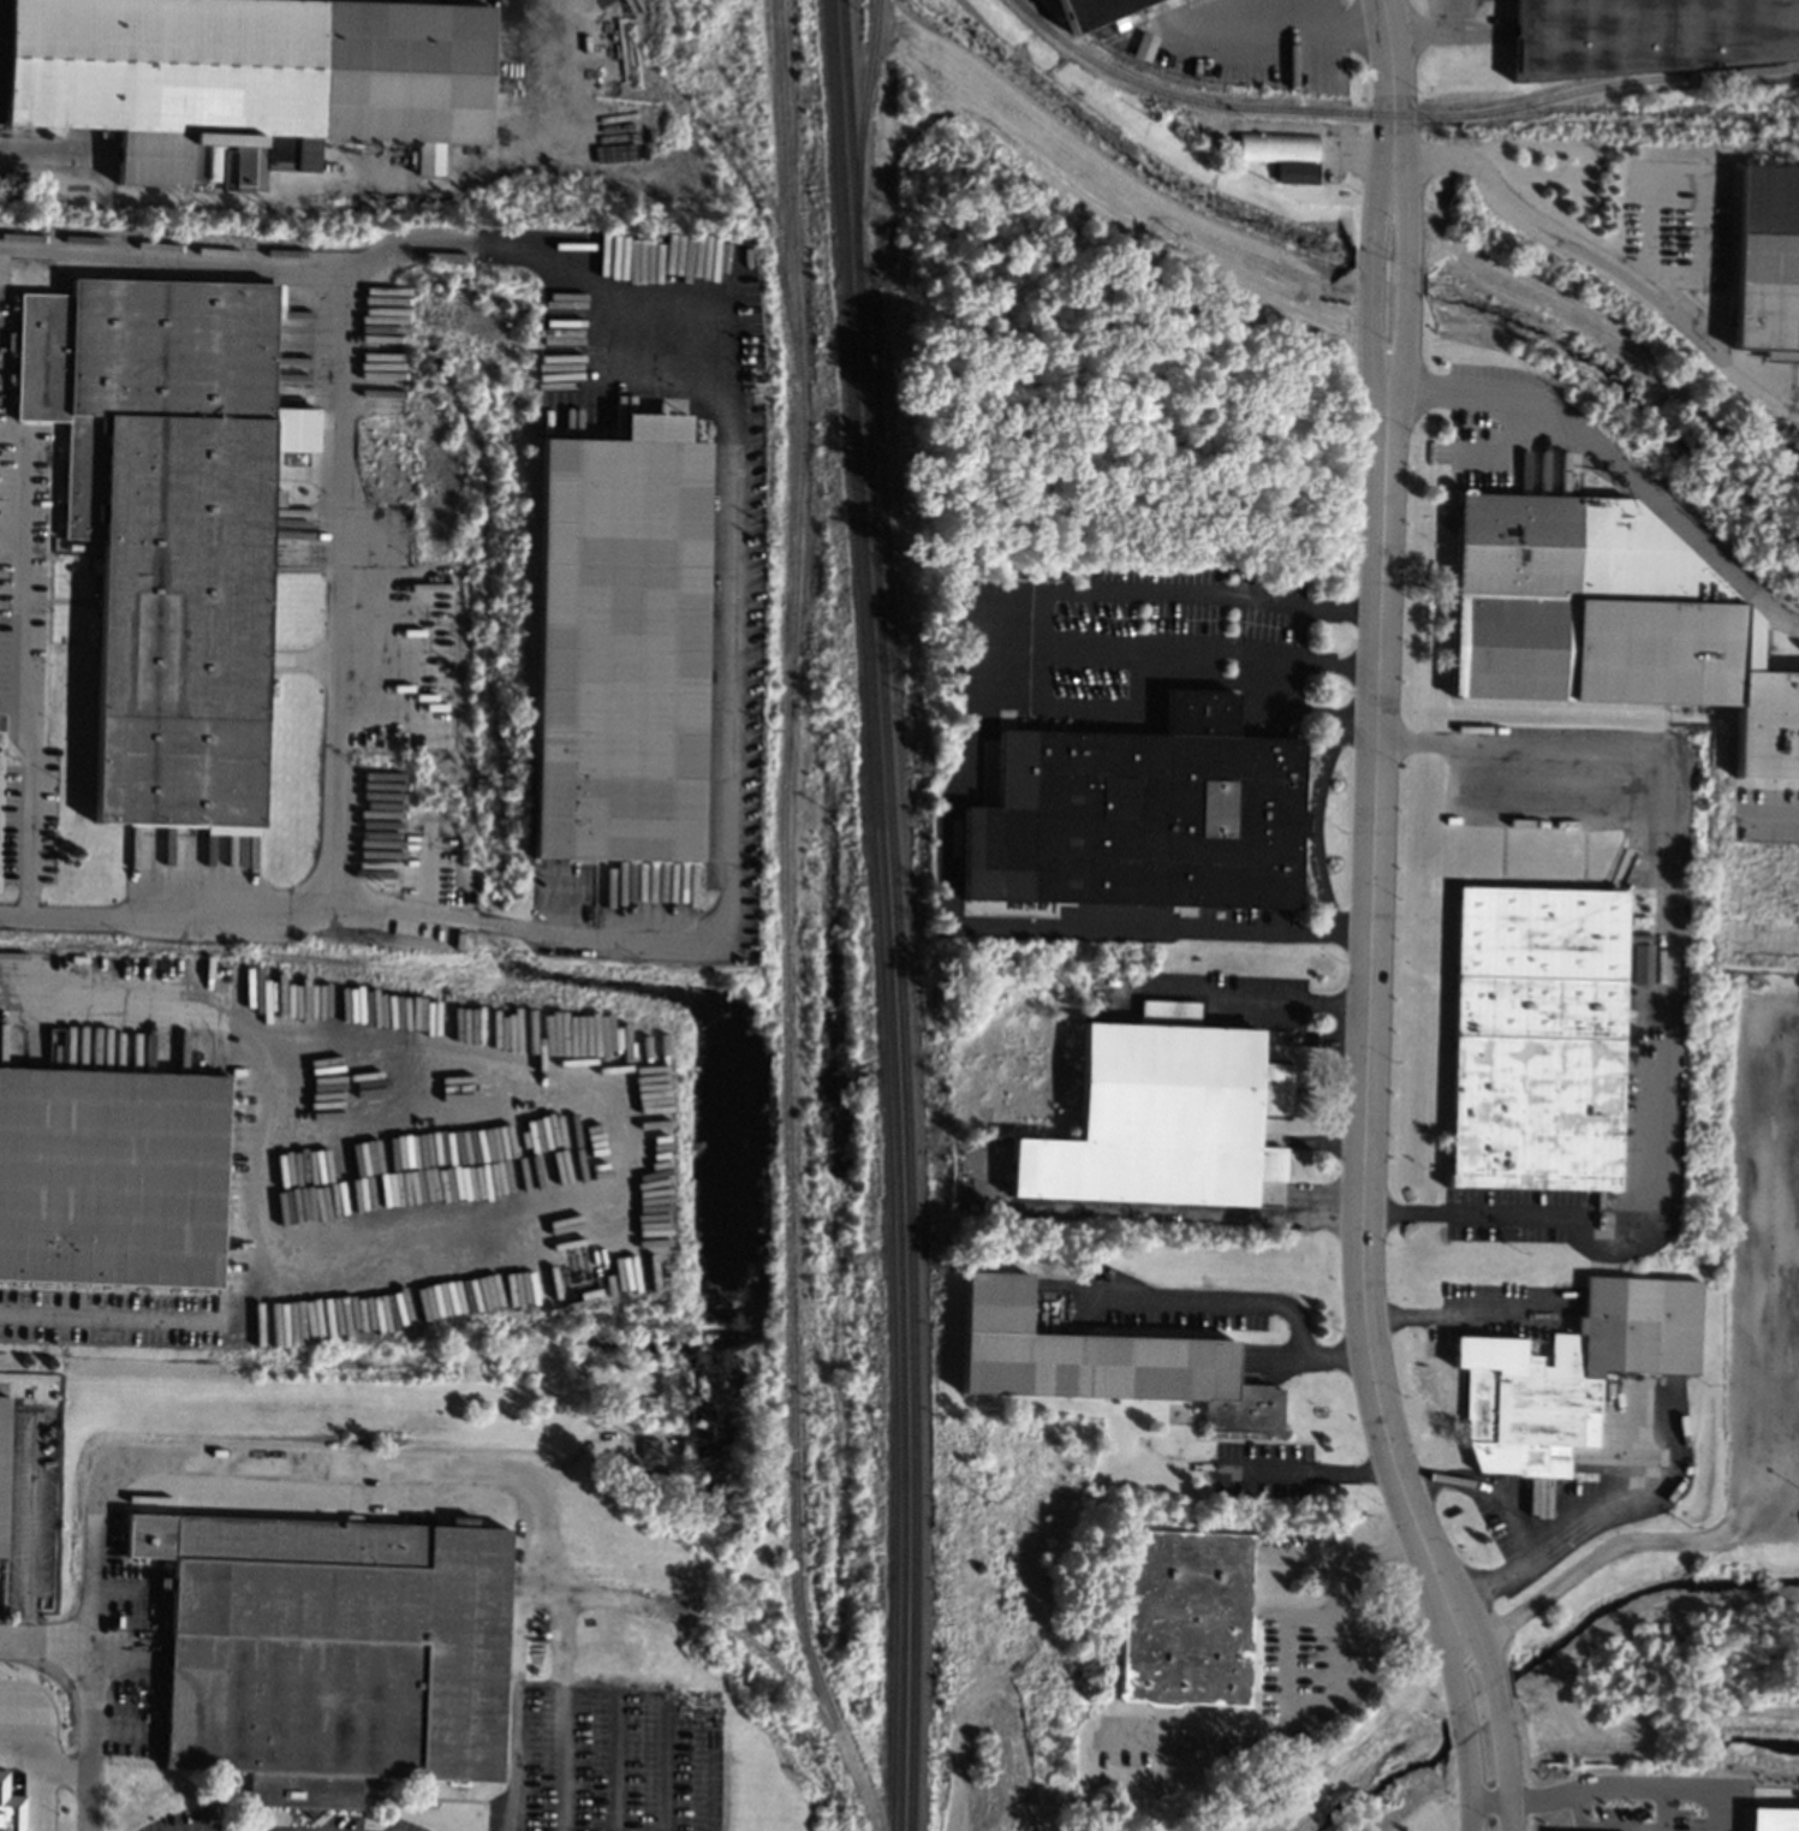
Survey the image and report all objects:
building: (1092, 11)
building: (1648, 35)
road: (1335, 36)
building: (243, 72)
road: (1388, 77)
railway: (1632, 81)
railway: (1228, 106)
road: (1312, 130)
railway: (860, 131)
building: (1280, 153)
road: (340, 182)
road: (1703, 183)
road: (374, 257)
building: (1767, 258)
road: (1602, 268)
road: (1368, 275)
road: (1405, 275)
road: (1613, 466)
building: (167, 525)
road: (10, 534)
road: (19, 565)
road: (336, 588)
building: (1607, 617)
road: (731, 624)
road: (1037, 625)
building: (620, 643)
road: (1285, 703)
road: (1773, 801)
road: (25, 813)
building: (1137, 815)
road: (1312, 822)
road: (999, 909)
road: (376, 914)
railway: (883, 915)
railway: (895, 915)
road: (1781, 940)
building: (1639, 963)
road: (1258, 998)
road: (1666, 1005)
road: (1798, 1022)
road: (1371, 1033)
building: (1537, 1036)
building: (1161, 1114)
road: (260, 1169)
road: (1794, 1175)
building: (109, 1176)
road: (1797, 1232)
parking lot: (1762, 1276)
road: (1247, 1302)
road: (1450, 1308)
building: (1097, 1361)
building: (1568, 1372)
building: (649, 1447)
road: (186, 1458)
building: (2, 1466)
road: (1304, 1470)
road: (1511, 1520)
road: (28, 1535)
road: (1346, 1553)
building: (1185, 1618)
road: (1286, 1645)
road: (78, 1646)
road: (1357, 1651)
building: (330, 1652)
road: (559, 1661)
road: (657, 1695)
road: (1513, 1701)
road: (516, 1705)
road: (40, 1714)
road: (1501, 1737)
road: (1261, 1742)
road: (1466, 1742)
road: (710, 1748)
road: (614, 1762)
road: (38, 1774)
road: (1587, 1789)
road: (1709, 1790)
road: (1757, 1791)
road: (1527, 1800)
building: (10, 1807)
parking lot: (1672, 1818)
building: (1771, 1818)
road: (1527, 1824)
road: (1604, 1827)

